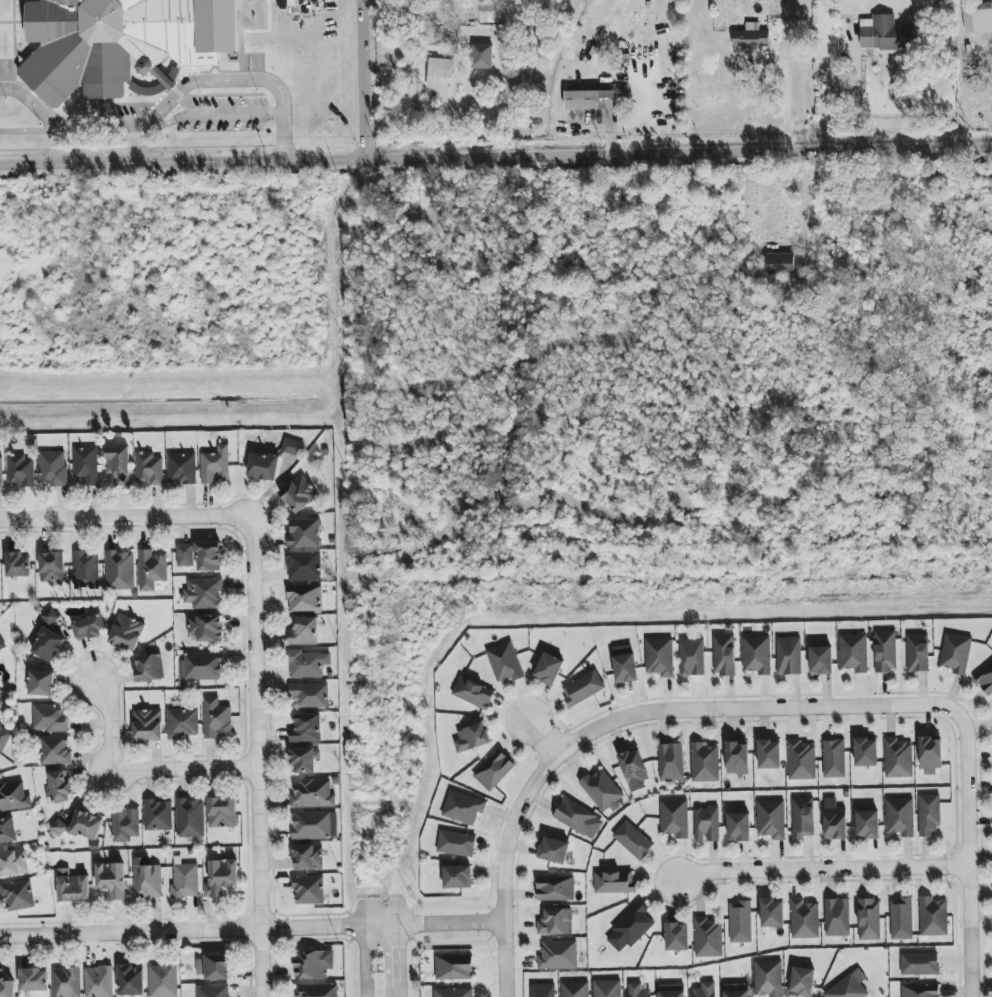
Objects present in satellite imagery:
building: (977, 18)
building: (888, 34)
building: (751, 38)
building: (123, 39)
building: (482, 56)
building: (438, 71)
road: (360, 79)
road: (170, 95)
road: (855, 95)
building: (590, 100)
road: (31, 104)
road: (211, 115)
road: (496, 155)
building: (780, 264)
building: (292, 447)
building: (86, 465)
building: (118, 465)
building: (215, 465)
building: (263, 467)
building: (53, 468)
building: (182, 468)
building: (149, 469)
building: (20, 471)
building: (1, 472)
building: (299, 494)
road: (126, 519)
building: (304, 534)
building: (185, 555)
building: (208, 557)
building: (18, 565)
building: (303, 566)
building: (52, 567)
building: (86, 569)
building: (120, 570)
building: (151, 570)
building: (203, 593)
building: (304, 598)
building: (50, 616)
building: (89, 627)
building: (206, 628)
building: (304, 632)
building: (127, 633)
building: (2, 644)
building: (48, 645)
building: (885, 651)
building: (853, 652)
building: (918, 653)
building: (956, 653)
building: (724, 655)
building: (757, 655)
building: (789, 656)
building: (660, 657)
building: (692, 657)
building: (821, 660)
building: (504, 662)
building: (307, 664)
building: (201, 666)
building: (625, 666)
building: (149, 668)
building: (549, 669)
building: (985, 679)
building: (42, 683)
building: (583, 688)
building: (473, 693)
building: (309, 695)
building: (0, 701)
road: (751, 710)
building: (49, 718)
building: (216, 718)
building: (183, 723)
building: (148, 725)
building: (306, 728)
road: (539, 735)
building: (471, 738)
building: (4, 739)
building: (55, 751)
building: (866, 752)
building: (769, 755)
building: (930, 755)
road: (261, 757)
building: (737, 758)
building: (834, 759)
building: (898, 759)
building: (304, 760)
building: (801, 761)
building: (671, 762)
building: (704, 763)
road: (141, 769)
building: (634, 769)
building: (494, 770)
building: (59, 787)
building: (602, 791)
building: (312, 794)
building: (14, 797)
building: (463, 808)
building: (222, 812)
building: (929, 814)
building: (158, 815)
building: (802, 817)
building: (900, 817)
building: (190, 818)
building: (578, 818)
building: (674, 818)
building: (771, 819)
building: (835, 823)
building: (706, 824)
building: (867, 824)
building: (86, 825)
building: (125, 825)
building: (315, 825)
building: (738, 827)
building: (59, 828)
building: (7, 830)
building: (633, 840)
building: (456, 843)
building: (554, 851)
road: (963, 854)
building: (308, 858)
building: (13, 863)
road: (504, 868)
road: (819, 870)
building: (221, 877)
building: (457, 877)
building: (111, 879)
building: (146, 879)
building: (185, 881)
building: (614, 882)
building: (72, 886)
building: (555, 888)
building: (309, 890)
building: (17, 895)
building: (772, 913)
building: (837, 917)
building: (933, 917)
building: (869, 919)
building: (901, 919)
building: (804, 920)
building: (556, 922)
building: (740, 922)
building: (630, 928)
road: (250, 929)
building: (677, 937)
building: (708, 938)
building: (558, 955)
road: (366, 962)
road: (400, 962)
building: (919, 964)
building: (314, 965)
building: (213, 967)
building: (454, 967)
building: (768, 978)
building: (34, 980)
building: (131, 980)
building: (163, 981)
building: (66, 982)
building: (99, 982)
building: (802, 982)
building: (6, 986)
building: (849, 987)
building: (607, 988)
building: (575, 989)
building: (317, 990)
building: (542, 990)
building: (638, 990)
building: (672, 990)
building: (705, 990)
building: (736, 990)
building: (920, 990)
building: (213, 991)
building: (454, 993)

